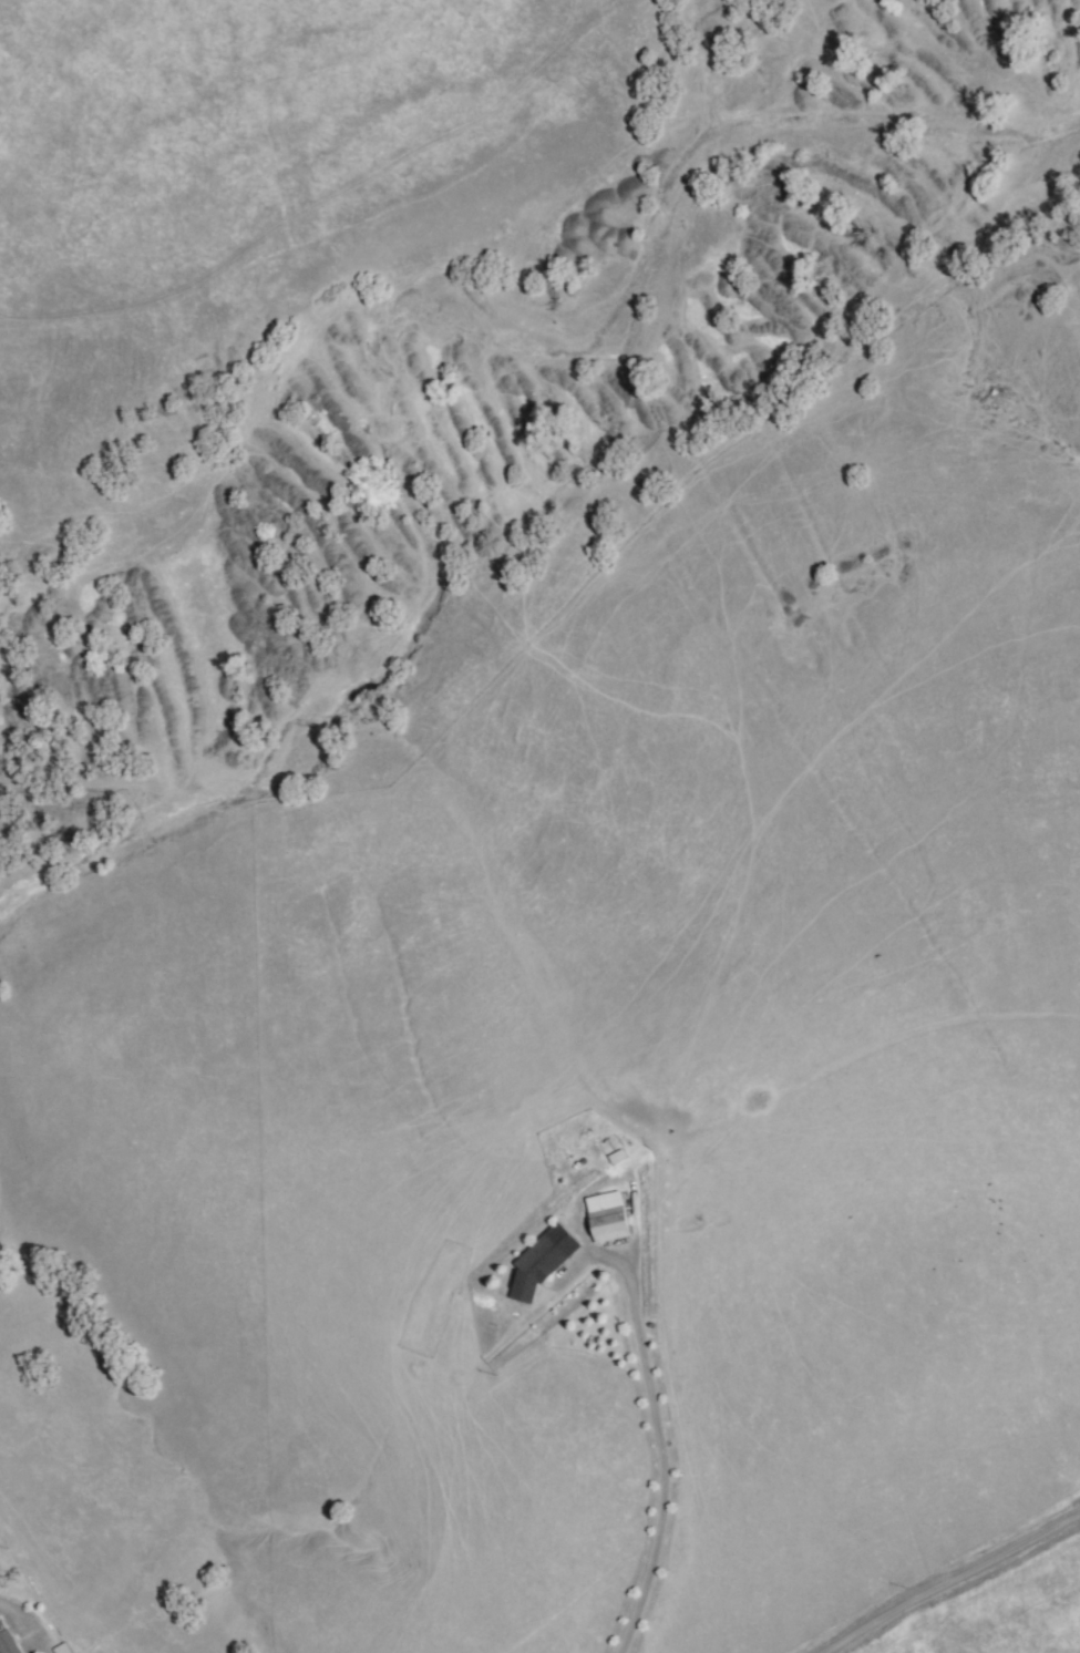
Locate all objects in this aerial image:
building: (608, 1218)
building: (535, 1269)
road: (661, 1459)
road: (949, 1579)
building: (6, 1643)

